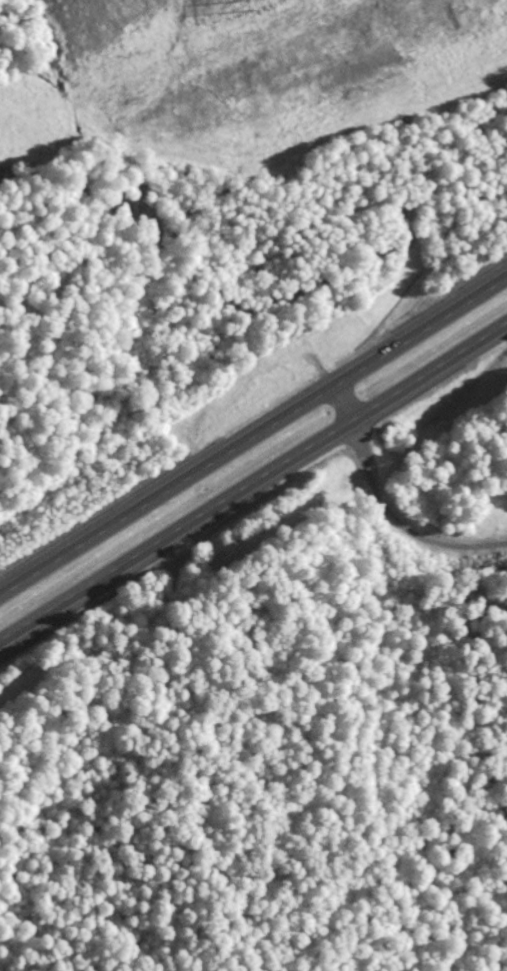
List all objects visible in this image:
power tower: (245, 5)
road: (253, 436)
road: (254, 486)
road: (388, 508)

